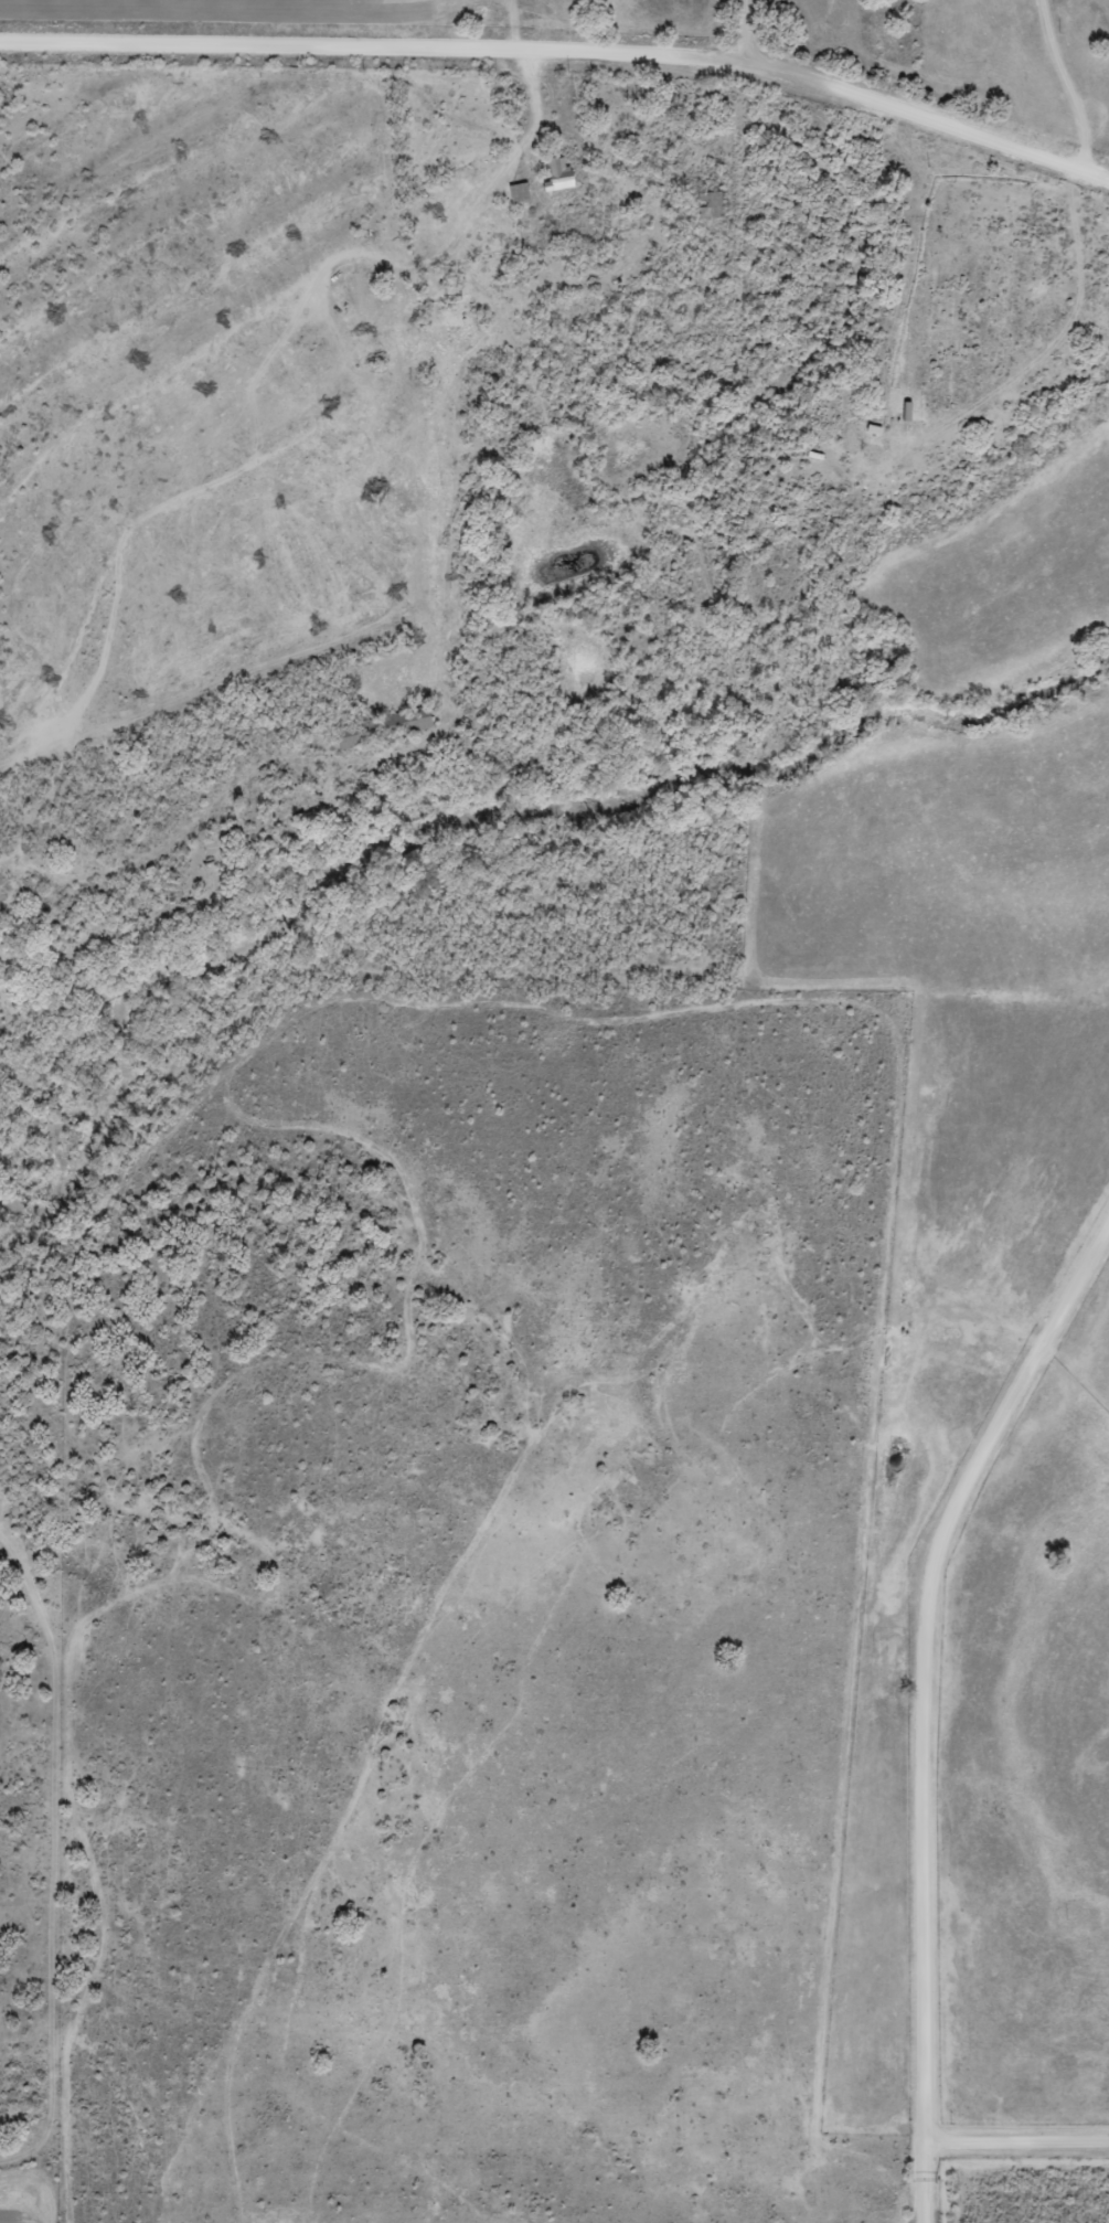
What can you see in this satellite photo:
road: (745, 26)
road: (564, 45)
road: (1069, 81)
building: (554, 166)
building: (515, 183)
building: (516, 193)
road: (1022, 362)
building: (870, 419)
building: (813, 448)
road: (957, 1736)
road: (1035, 2139)

